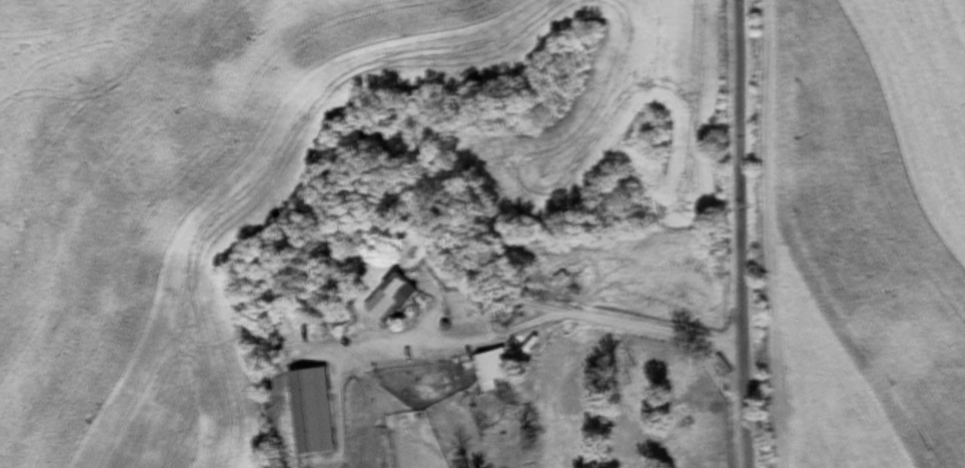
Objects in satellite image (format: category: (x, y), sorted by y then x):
road: (731, 234)
building: (381, 297)
building: (487, 368)
building: (306, 411)

